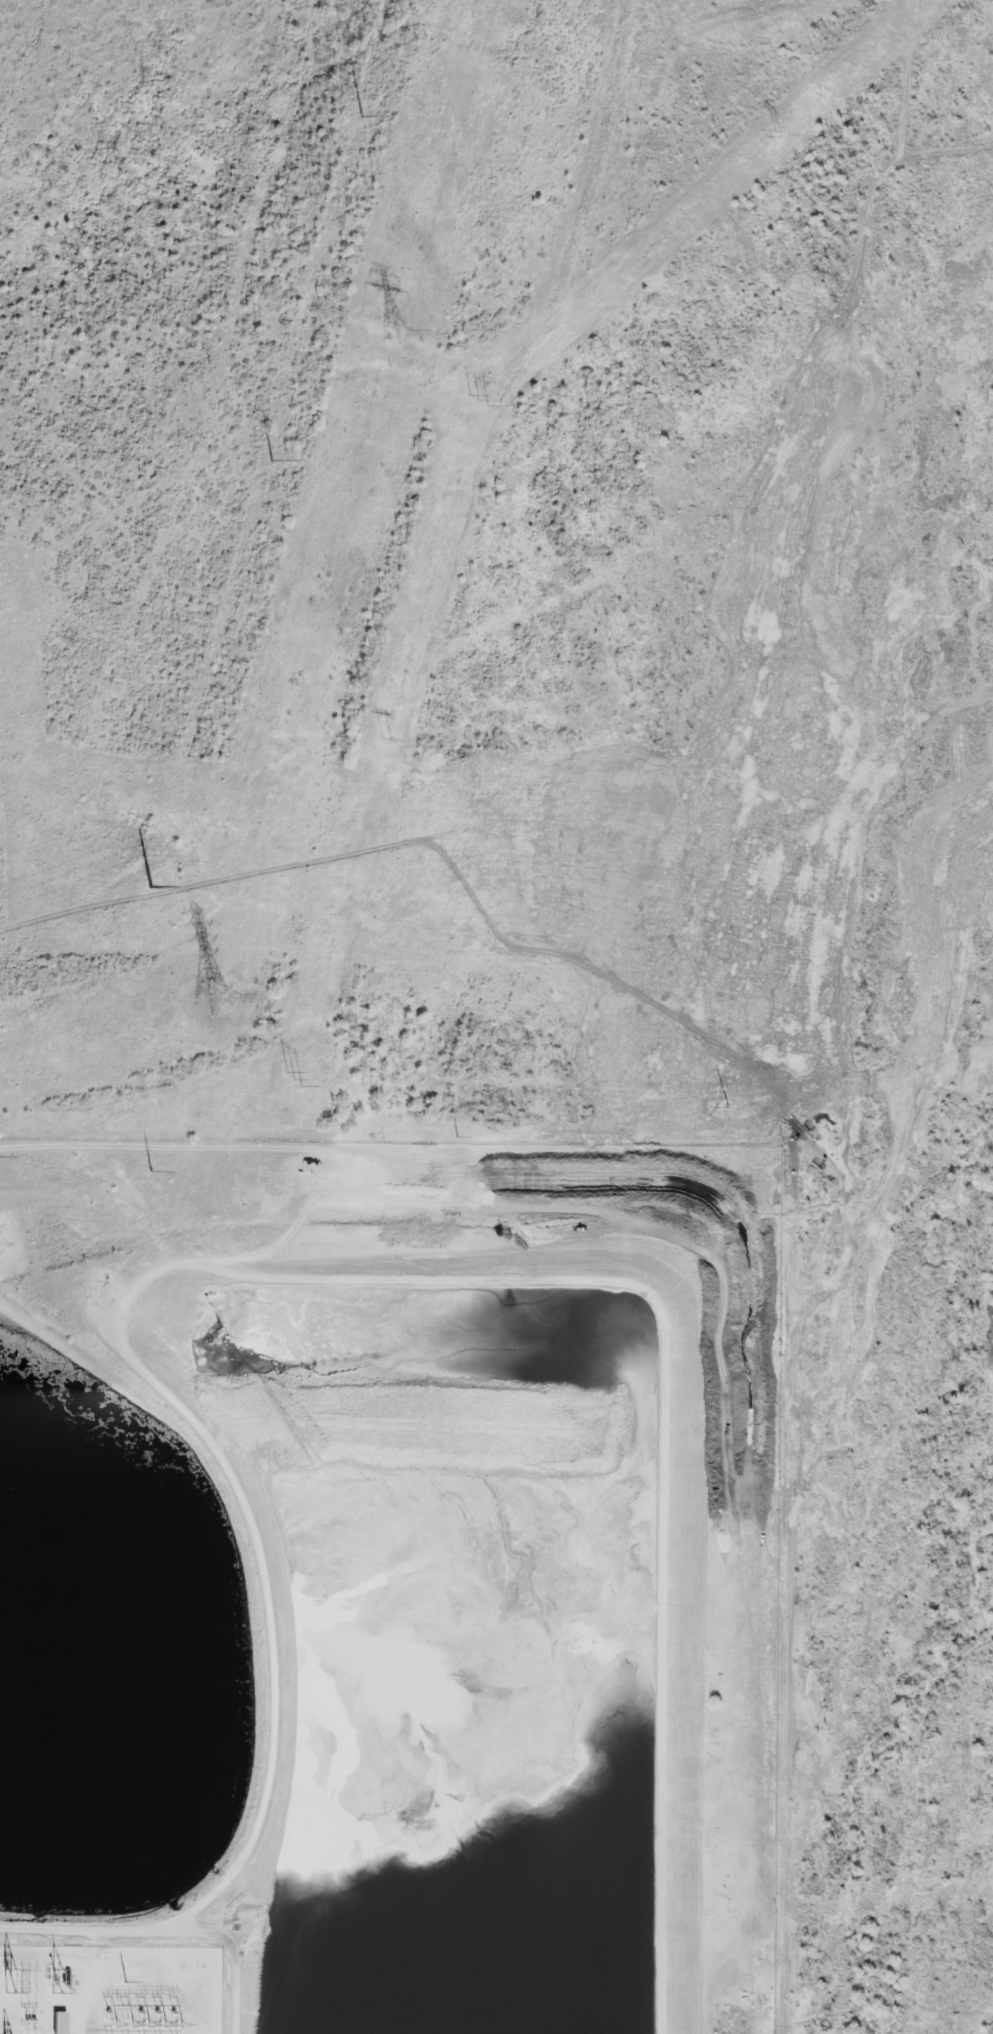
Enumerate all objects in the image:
power tower: (349, 116)
power tower: (781, 128)
power tower: (395, 335)
power tower: (470, 397)
power tower: (263, 465)
power tower: (388, 739)
power tower: (147, 889)
power tower: (213, 998)
power tower: (295, 1079)
power tower: (728, 1105)
power tower: (458, 1135)
power tower: (151, 1171)
power plant: (387, 1586)
power tower: (125, 1984)
power substation: (110, 1991)
building: (60, 2023)

